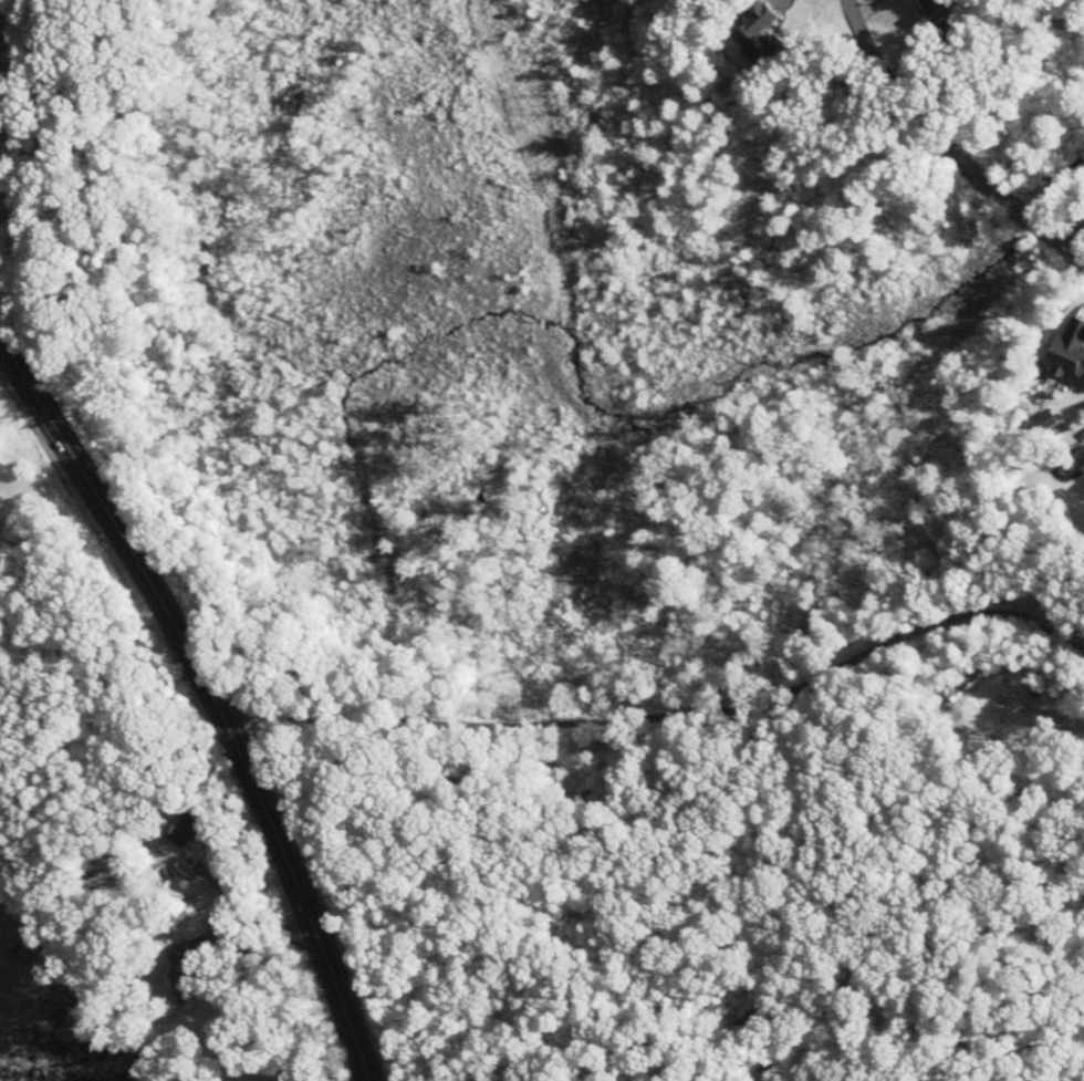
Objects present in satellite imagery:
building: (940, 10)
building: (761, 32)
road: (941, 147)
building: (1070, 352)
building: (1045, 422)
building: (1082, 464)
road: (213, 692)
road: (667, 719)
building: (188, 838)
road: (250, 869)
road: (250, 915)
building: (186, 976)

